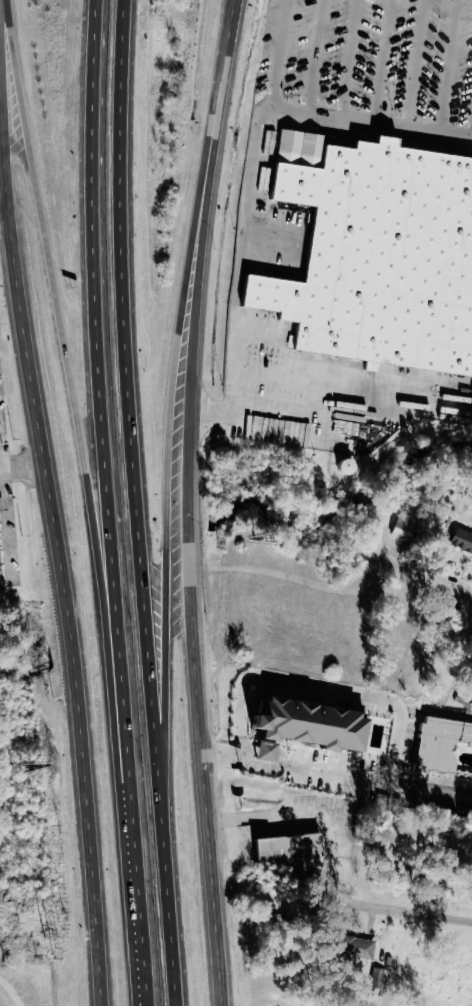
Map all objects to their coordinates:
road: (289, 58)
road: (328, 61)
road: (363, 64)
road: (394, 66)
road: (430, 68)
road: (4, 69)
road: (461, 70)
road: (375, 130)
road: (4, 139)
road: (10, 231)
building: (385, 276)
road: (98, 288)
road: (59, 289)
road: (24, 473)
road: (200, 502)
road: (139, 503)
building: (406, 529)
building: (464, 539)
road: (174, 546)
road: (65, 571)
road: (421, 579)
road: (320, 685)
building: (312, 727)
building: (443, 744)
road: (135, 791)
road: (438, 800)
building: (295, 850)
road: (408, 913)
power tower: (57, 941)
building: (359, 947)
building: (380, 977)
building: (377, 998)

